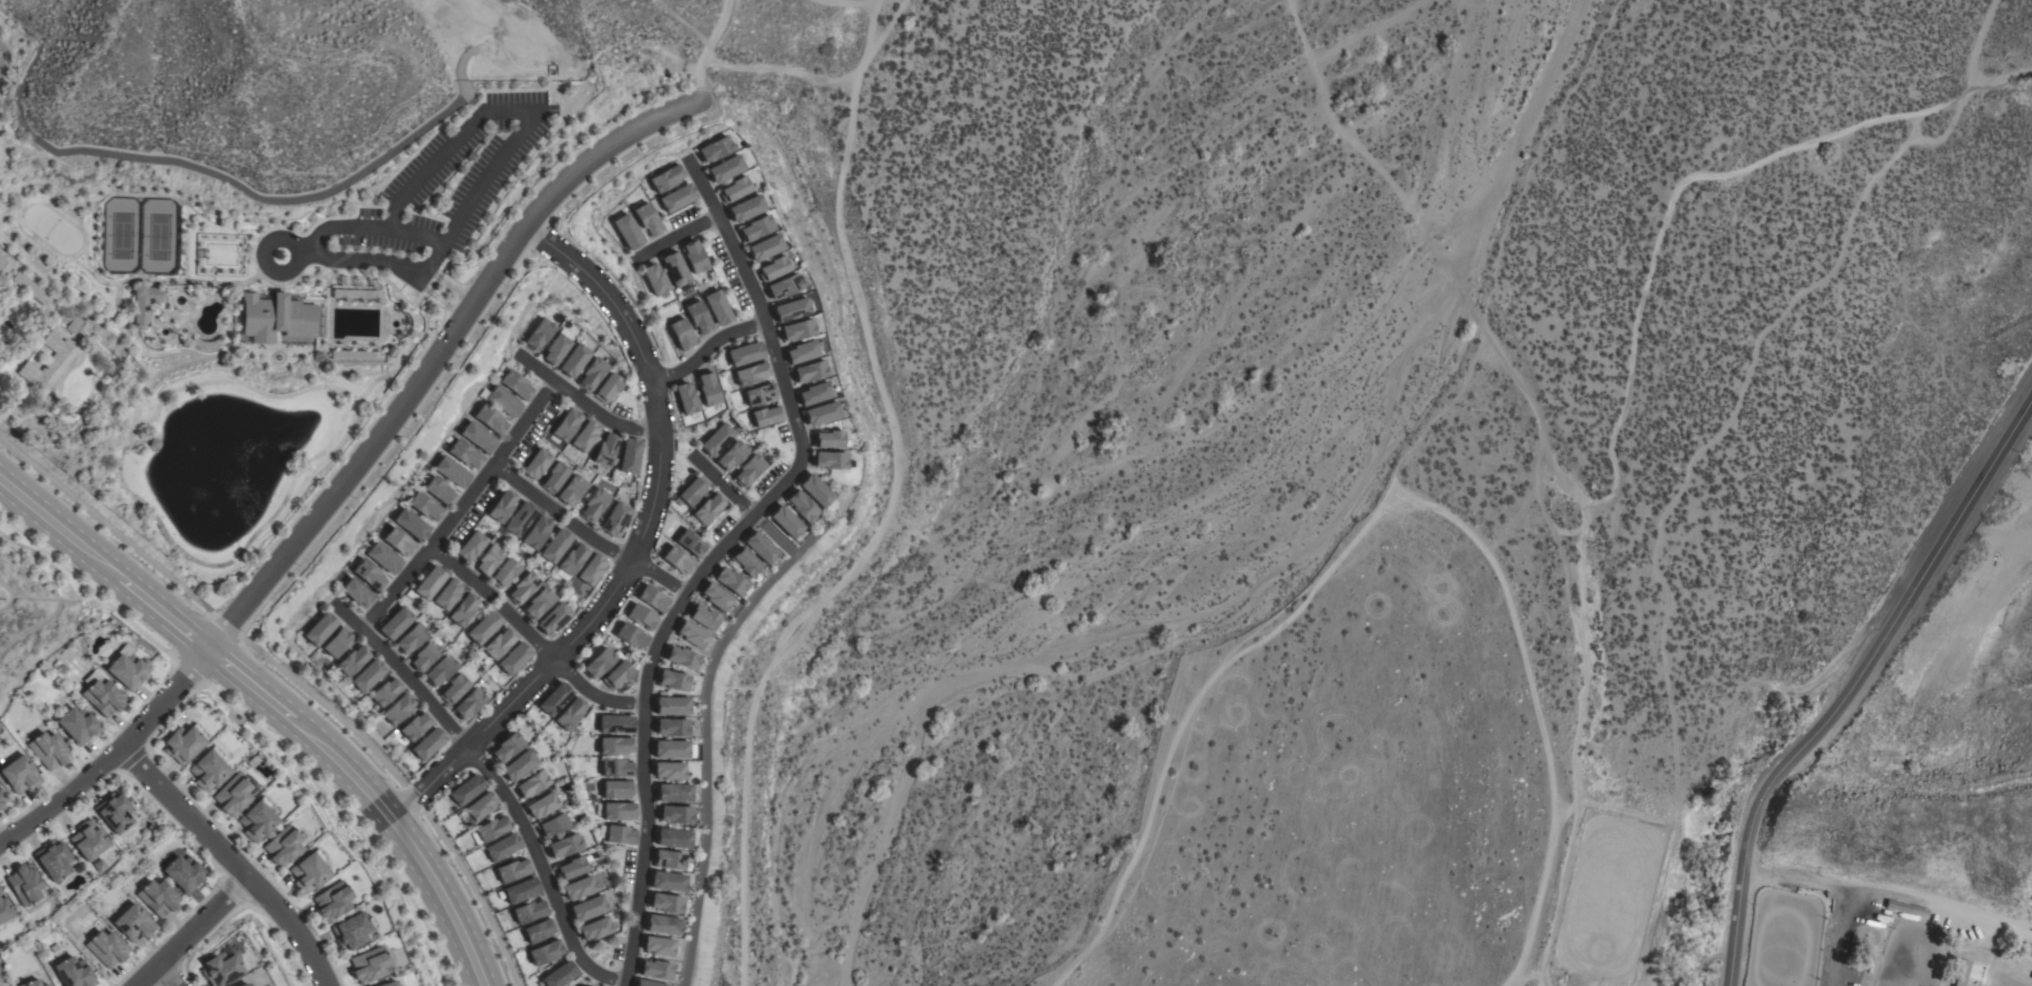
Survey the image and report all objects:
road: (681, 22)
road: (1365, 27)
road: (704, 48)
road: (778, 68)
road: (1984, 76)
road: (2019, 76)
road: (1913, 126)
road: (1928, 137)
building: (715, 149)
road: (442, 153)
building: (725, 169)
building: (667, 179)
building: (734, 189)
building: (677, 197)
building: (745, 208)
building: (648, 220)
wastewater plant: (82, 227)
building: (754, 228)
building: (628, 231)
road: (414, 236)
road: (673, 237)
building: (763, 247)
road: (262, 254)
building: (693, 256)
building: (2, 263)
building: (771, 268)
building: (675, 269)
building: (656, 279)
building: (782, 286)
building: (31, 288)
building: (144, 303)
building: (717, 307)
building: (790, 309)
building: (698, 317)
building: (277, 319)
building: (75, 325)
building: (796, 330)
building: (541, 334)
building: (682, 334)
road: (430, 349)
building: (557, 349)
road: (705, 349)
building: (801, 352)
building: (746, 353)
building: (575, 360)
building: (51, 363)
building: (809, 371)
building: (593, 374)
building: (751, 374)
building: (517, 384)
building: (609, 388)
building: (707, 388)
building: (814, 393)
building: (760, 395)
building: (686, 398)
building: (504, 402)
road: (585, 406)
building: (822, 413)
building: (766, 415)
building: (491, 419)
building: (566, 424)
road: (1607, 424)
building: (585, 436)
building: (478, 437)
building: (717, 439)
building: (828, 439)
building: (605, 450)
building: (465, 454)
building: (629, 456)
building: (732, 456)
building: (829, 460)
building: (536, 464)
building: (748, 470)
building: (453, 472)
building: (554, 477)
road: (720, 485)
road: (526, 489)
building: (440, 490)
building: (571, 490)
building: (692, 491)
building: (819, 492)
building: (594, 504)
building: (426, 506)
building: (502, 506)
building: (802, 506)
road: (460, 508)
building: (707, 508)
road: (885, 509)
building: (520, 519)
building: (615, 519)
building: (786, 521)
building: (412, 524)
road: (55, 526)
road: (105, 527)
building: (537, 532)
building: (400, 542)
building: (691, 543)
road: (637, 545)
building: (471, 546)
building: (555, 546)
building: (761, 547)
road: (719, 556)
building: (385, 557)
building: (572, 559)
building: (489, 560)
building: (677, 560)
building: (745, 561)
road: (627, 562)
building: (592, 570)
road: (459, 571)
building: (505, 573)
building: (370, 575)
building: (730, 581)
building: (430, 582)
building: (523, 588)
road: (86, 591)
building: (357, 592)
building: (448, 594)
building: (716, 596)
building: (653, 598)
building: (539, 603)
building: (463, 609)
road: (157, 611)
building: (703, 616)
building: (642, 617)
building: (554, 619)
building: (397, 623)
road: (225, 626)
building: (484, 628)
building: (321, 629)
building: (691, 635)
building: (631, 636)
building: (412, 638)
building: (339, 642)
building: (499, 643)
building: (425, 656)
building: (682, 657)
building: (514, 658)
building: (354, 660)
building: (598, 663)
building: (127, 669)
building: (441, 670)
road: (563, 671)
road: (188, 673)
building: (617, 674)
building: (369, 675)
road: (403, 676)
building: (673, 680)
road: (1852, 686)
building: (454, 689)
road: (253, 690)
building: (386, 691)
building: (104, 697)
building: (555, 699)
building: (469, 704)
building: (672, 706)
building: (399, 709)
building: (570, 713)
building: (616, 724)
building: (78, 726)
building: (416, 726)
building: (671, 727)
building: (183, 743)
building: (428, 744)
building: (615, 745)
building: (506, 747)
building: (674, 749)
building: (49, 750)
road: (110, 756)
building: (519, 765)
building: (617, 768)
building: (208, 769)
building: (669, 771)
building: (20, 774)
building: (532, 784)
building: (617, 789)
road: (404, 790)
building: (466, 790)
building: (675, 793)
building: (232, 795)
building: (2, 800)
building: (542, 805)
building: (477, 809)
building: (619, 811)
building: (115, 812)
building: (676, 814)
road: (348, 817)
building: (257, 819)
building: (553, 826)
building: (490, 829)
building: (621, 835)
building: (675, 838)
building: (89, 840)
building: (283, 846)
road: (407, 846)
building: (564, 846)
building: (503, 847)
building: (53, 859)
road: (232, 859)
building: (671, 859)
building: (571, 868)
road: (546, 869)
building: (513, 870)
building: (308, 872)
building: (184, 873)
building: (670, 881)
building: (27, 885)
building: (578, 888)
building: (521, 890)
road: (1889, 892)
building: (158, 898)
building: (332, 901)
building: (667, 903)
building: (588, 908)
building: (1905, 908)
building: (4, 909)
building: (529, 911)
building: (134, 923)
building: (664, 924)
building: (594, 929)
building: (352, 930)
building: (539, 930)
road: (191, 931)
road: (1839, 935)
building: (660, 946)
building: (2020, 946)
building: (107, 948)
building: (546, 952)
building: (369, 965)
building: (220, 969)
building: (658, 969)
building: (1963, 972)
building: (74, 973)
road: (167, 974)
building: (559, 975)
building: (31, 983)
building: (388, 983)
building: (648, 983)
building: (45, 985)
building: (242, 985)

